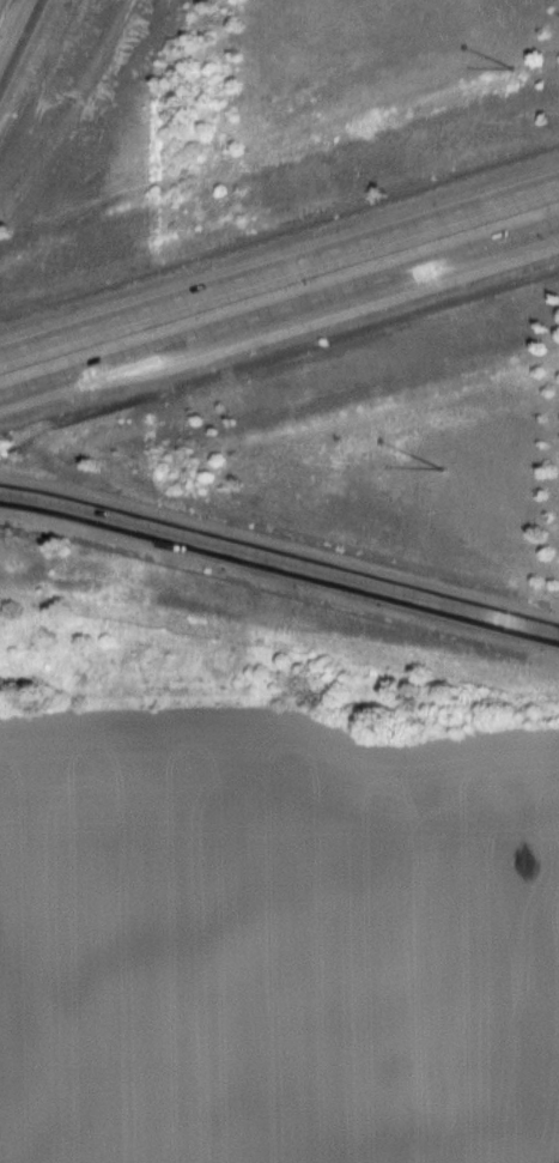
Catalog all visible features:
road: (19, 38)
road: (279, 266)
road: (279, 311)
road: (279, 559)
crop: (279, 947)

